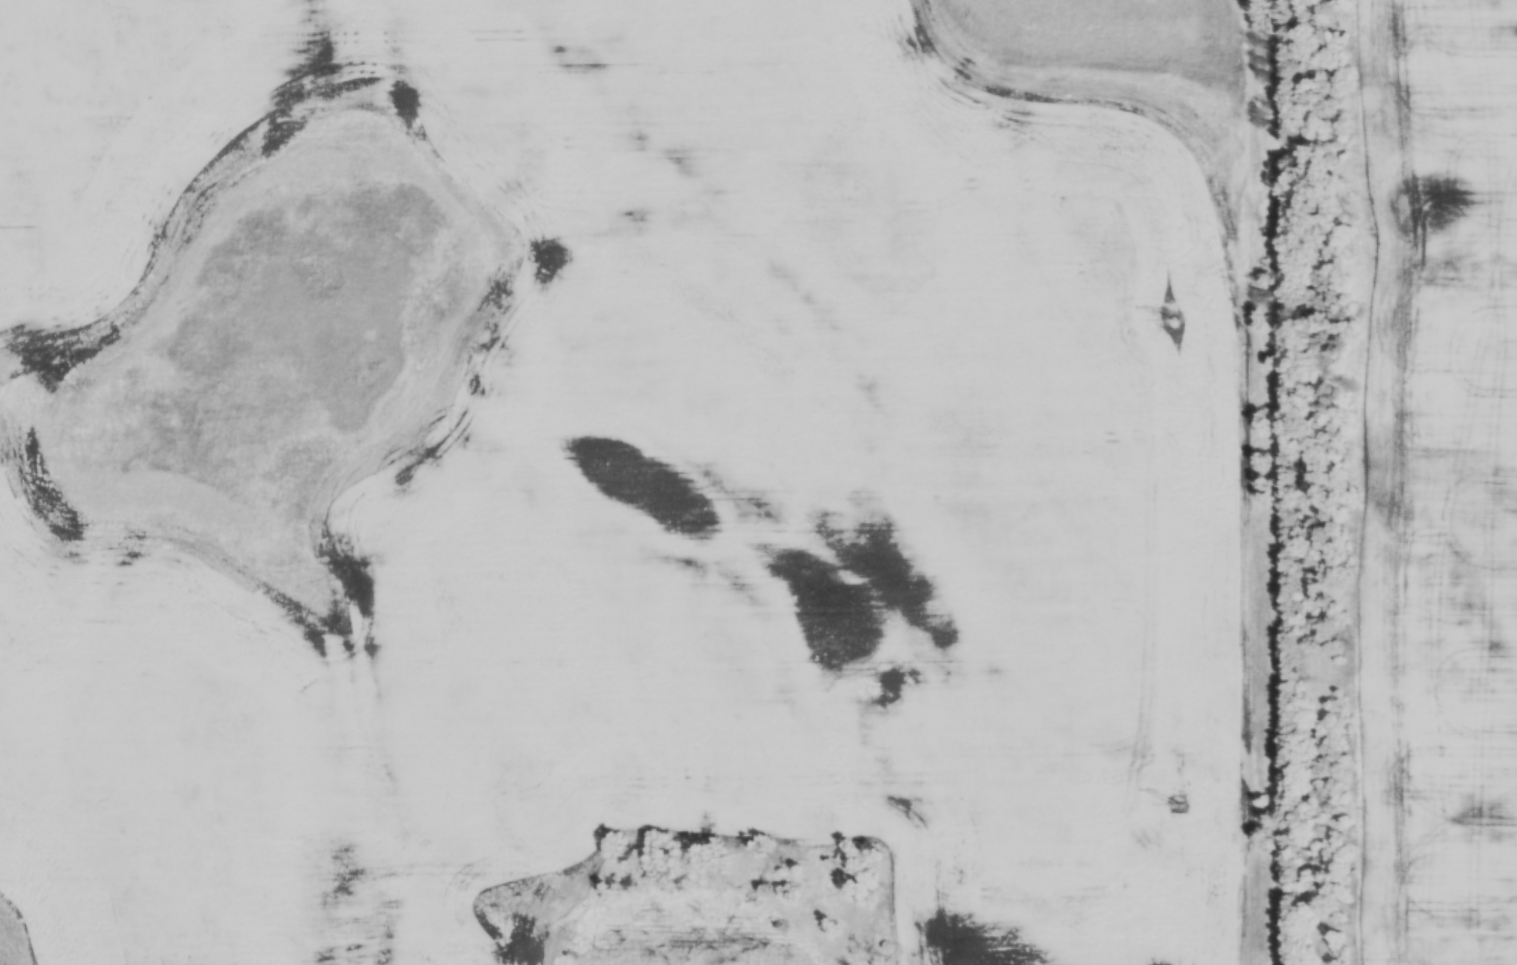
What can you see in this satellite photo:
power tower: (1170, 319)
road: (1261, 482)
power tower: (1175, 805)

